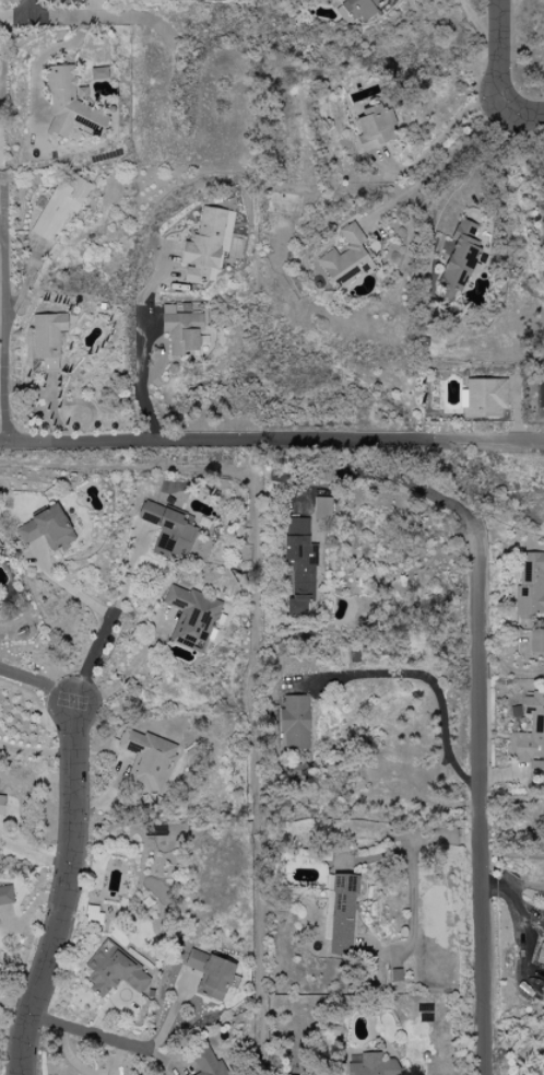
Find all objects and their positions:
road: (88, 9)
building: (356, 9)
road: (12, 16)
road: (97, 17)
road: (477, 25)
road: (9, 36)
road: (501, 54)
road: (37, 59)
building: (68, 106)
road: (527, 113)
building: (374, 127)
road: (445, 132)
road: (475, 164)
road: (440, 165)
building: (58, 207)
building: (202, 247)
building: (344, 258)
building: (457, 260)
building: (179, 330)
road: (3, 332)
building: (46, 338)
road: (141, 352)
building: (540, 394)
building: (483, 397)
road: (275, 442)
road: (3, 445)
road: (314, 478)
road: (413, 483)
building: (320, 507)
building: (45, 528)
building: (166, 529)
building: (298, 564)
building: (529, 584)
road: (72, 589)
building: (189, 617)
road: (109, 626)
building: (535, 641)
road: (39, 685)
road: (435, 696)
building: (294, 722)
building: (530, 736)
road: (37, 751)
building: (144, 759)
road: (511, 775)
building: (1, 803)
road: (478, 809)
road: (33, 855)
road: (410, 876)
road: (66, 892)
building: (5, 895)
building: (339, 913)
building: (540, 956)
building: (111, 971)
building: (209, 973)
building: (542, 990)
road: (98, 1037)
building: (205, 1062)
building: (372, 1065)

